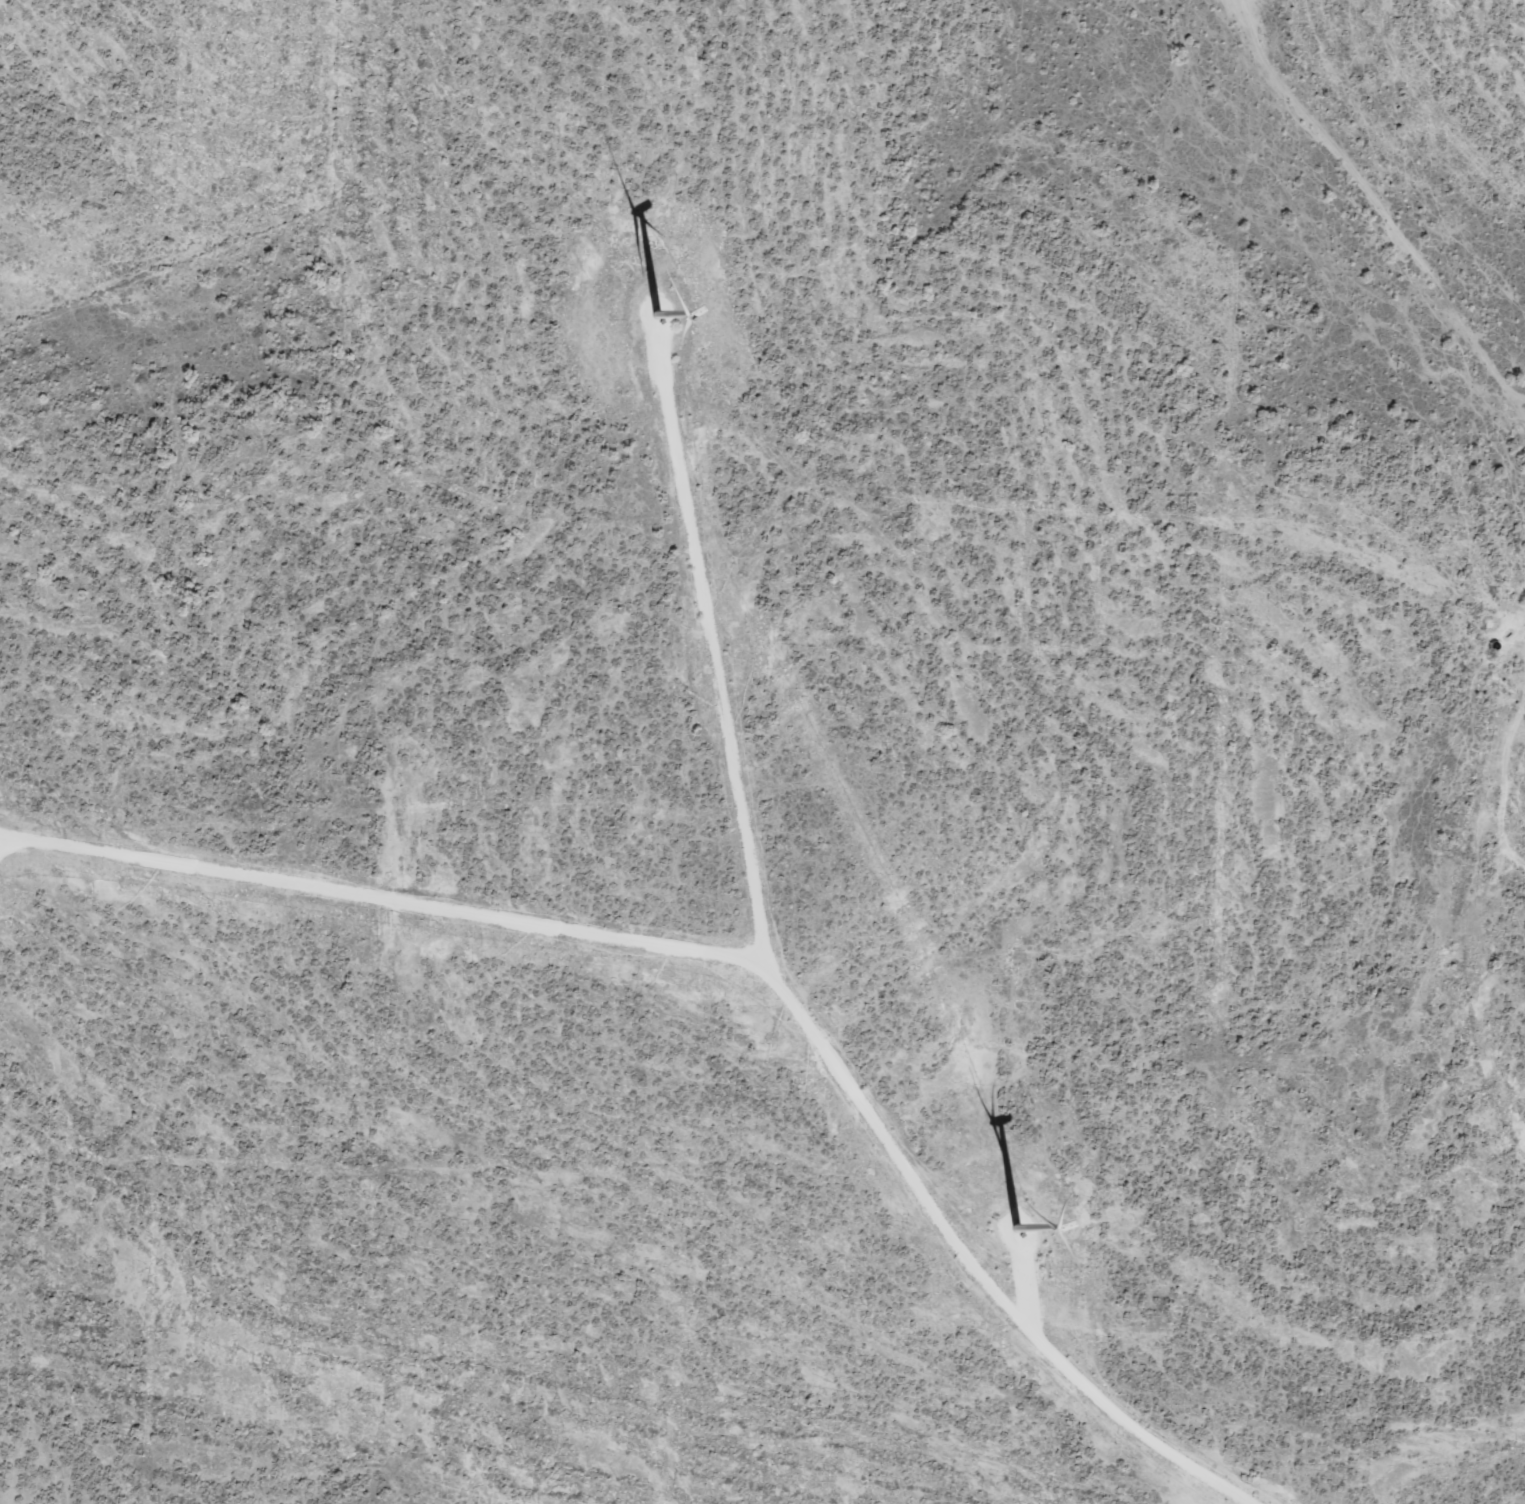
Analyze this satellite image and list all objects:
road: (1382, 205)
wind turbine: (656, 312)
wind turbine: (1011, 1229)

